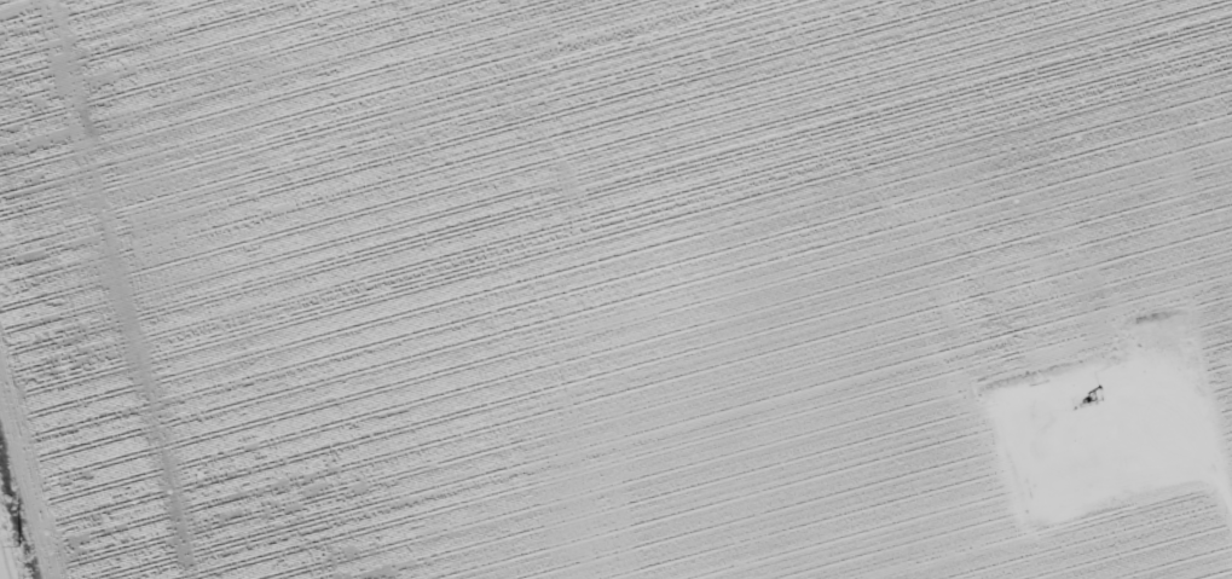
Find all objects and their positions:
power tower: (13, 538)

